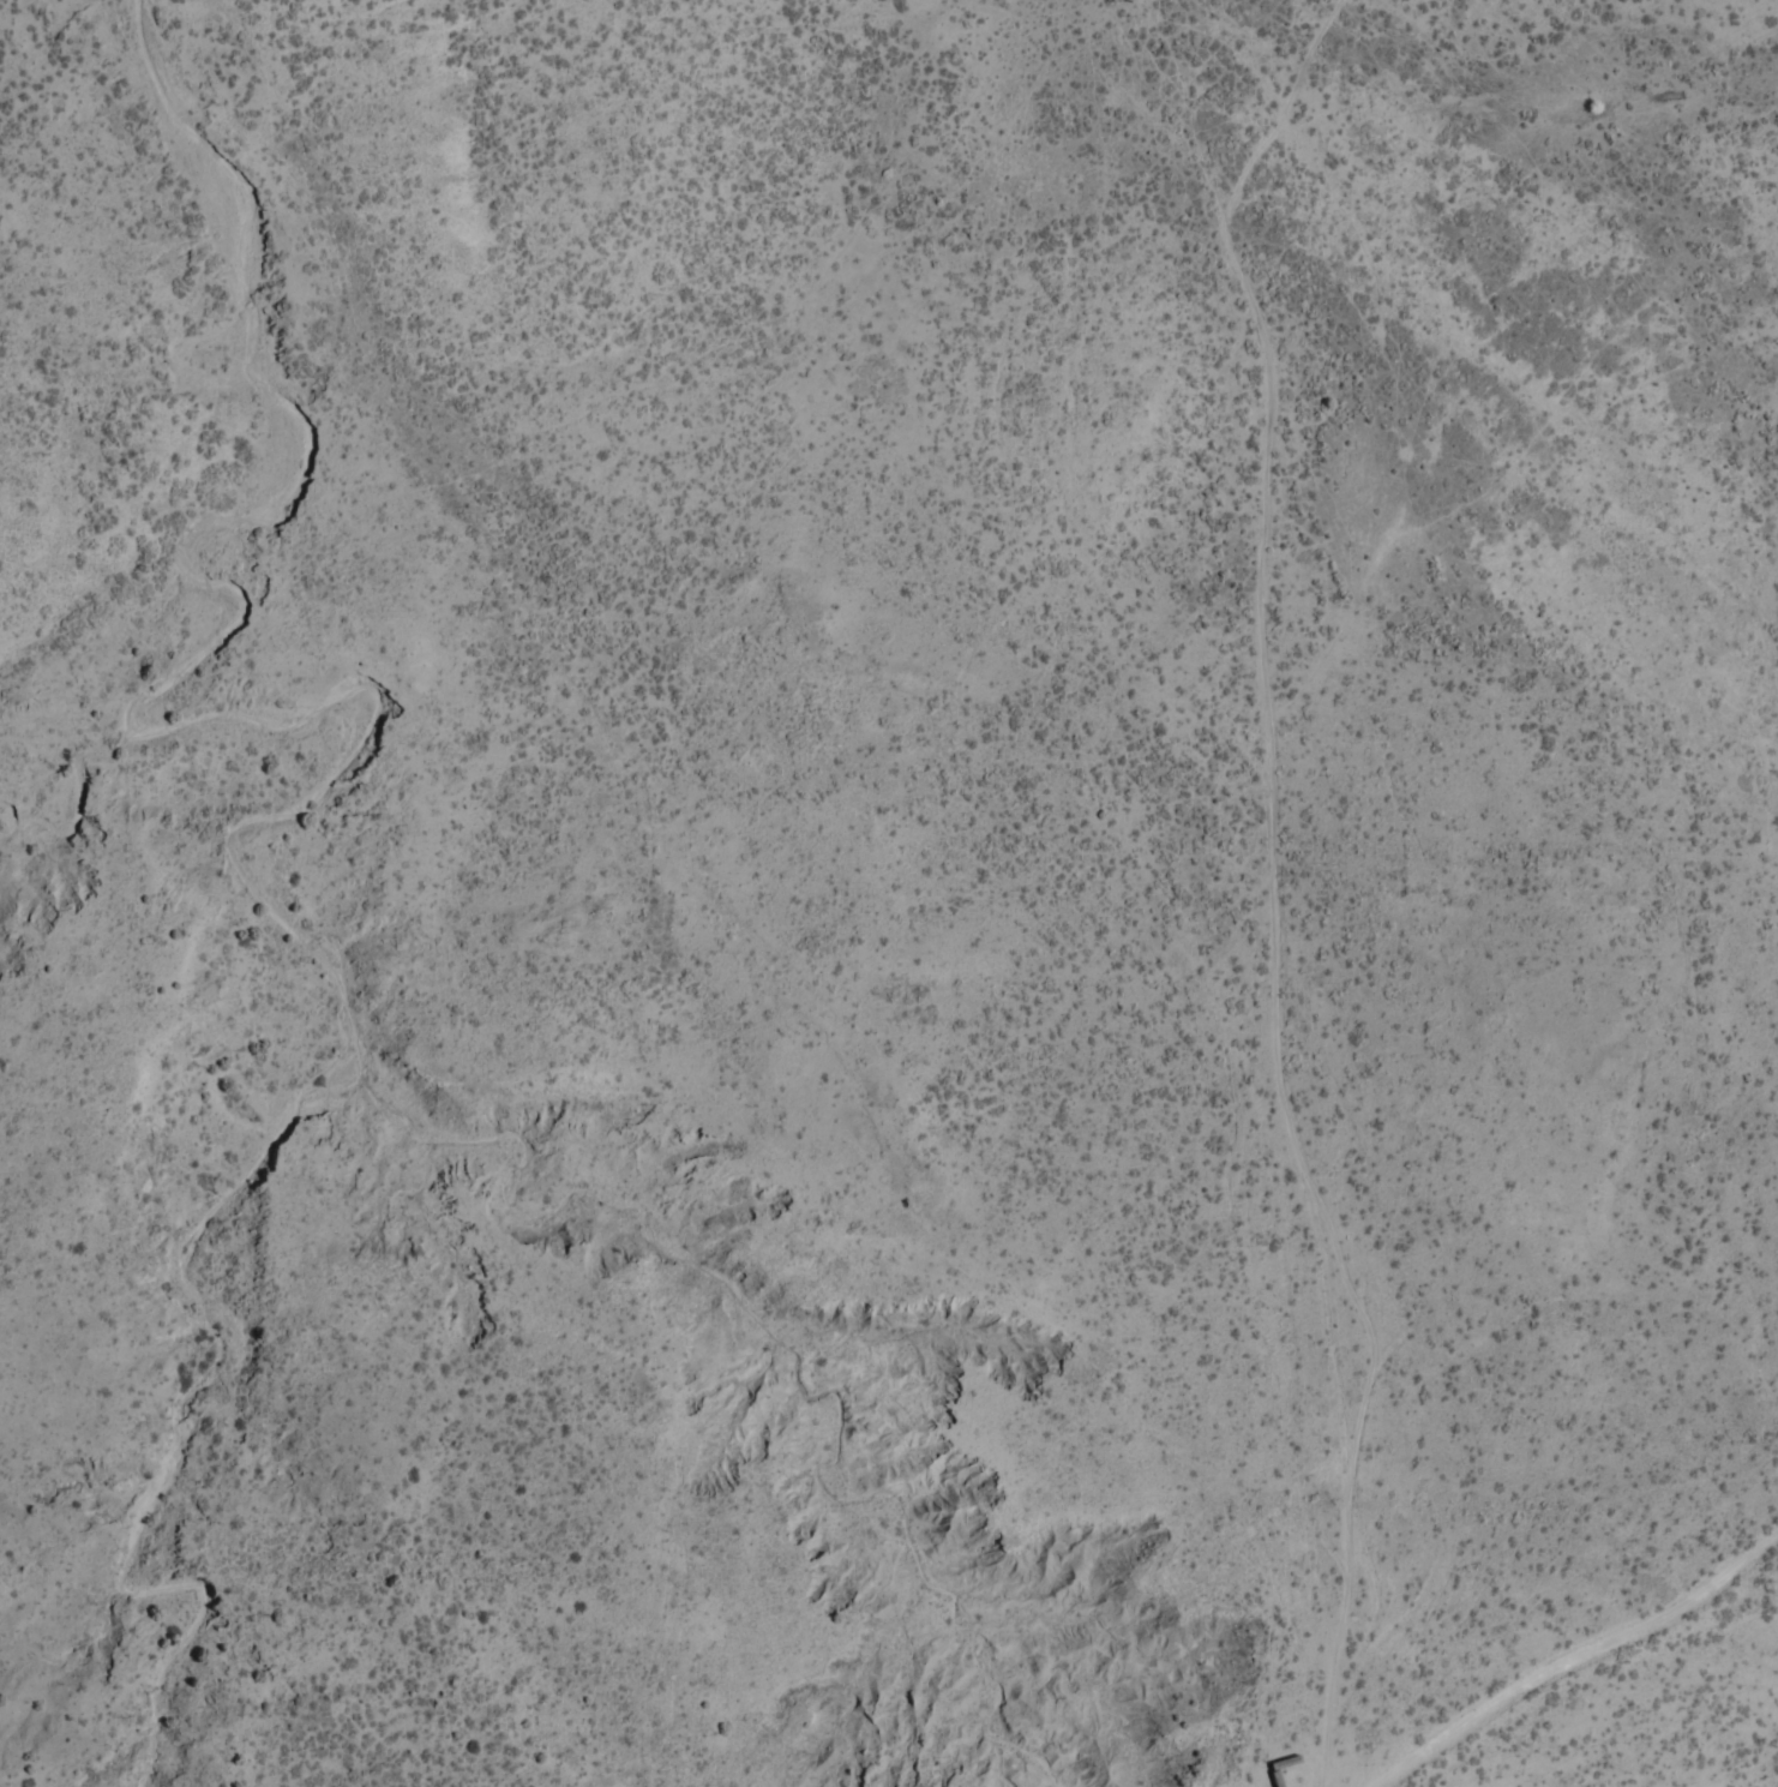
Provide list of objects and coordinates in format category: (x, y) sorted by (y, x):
road: (1544, 1627)
building: (1277, 1768)

